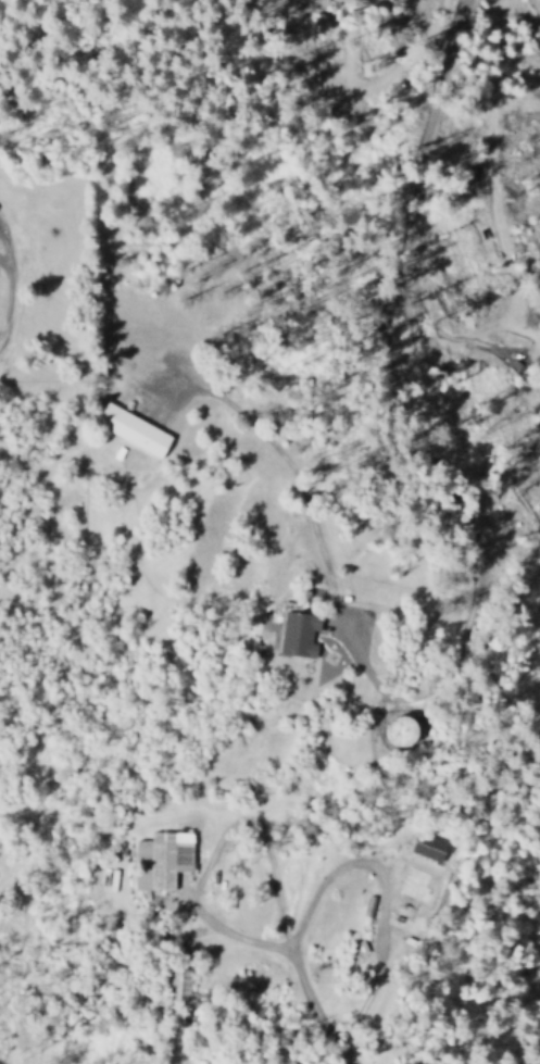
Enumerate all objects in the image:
road: (2, 285)
road: (355, 363)
building: (126, 429)
building: (292, 635)
building: (390, 730)
building: (418, 848)
building: (155, 860)
road: (291, 946)
building: (177, 985)

